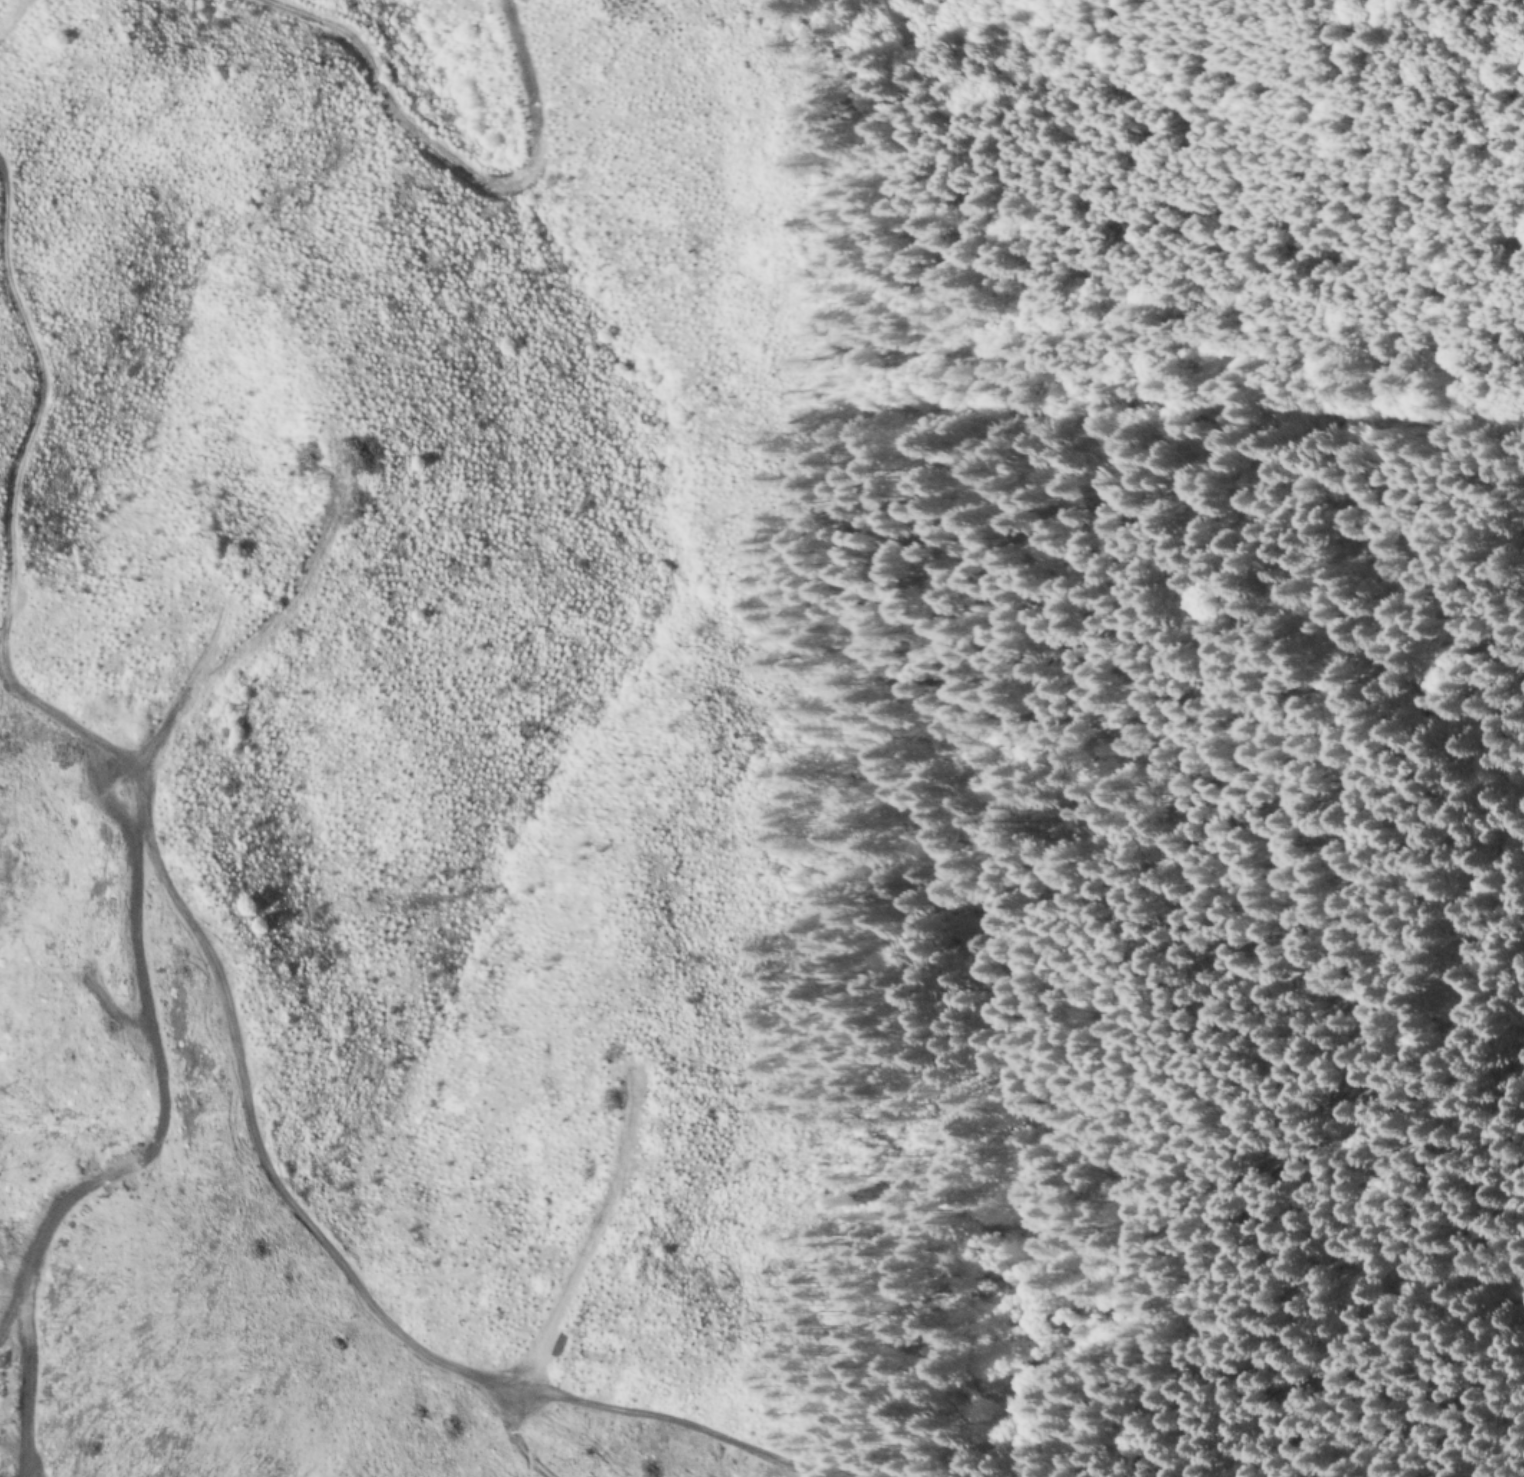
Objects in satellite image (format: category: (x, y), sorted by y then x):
road: (1272, 600)
road: (9, 679)
road: (1395, 847)
road: (1342, 898)
road: (1438, 1022)
road: (1434, 1069)
road: (1234, 1134)

